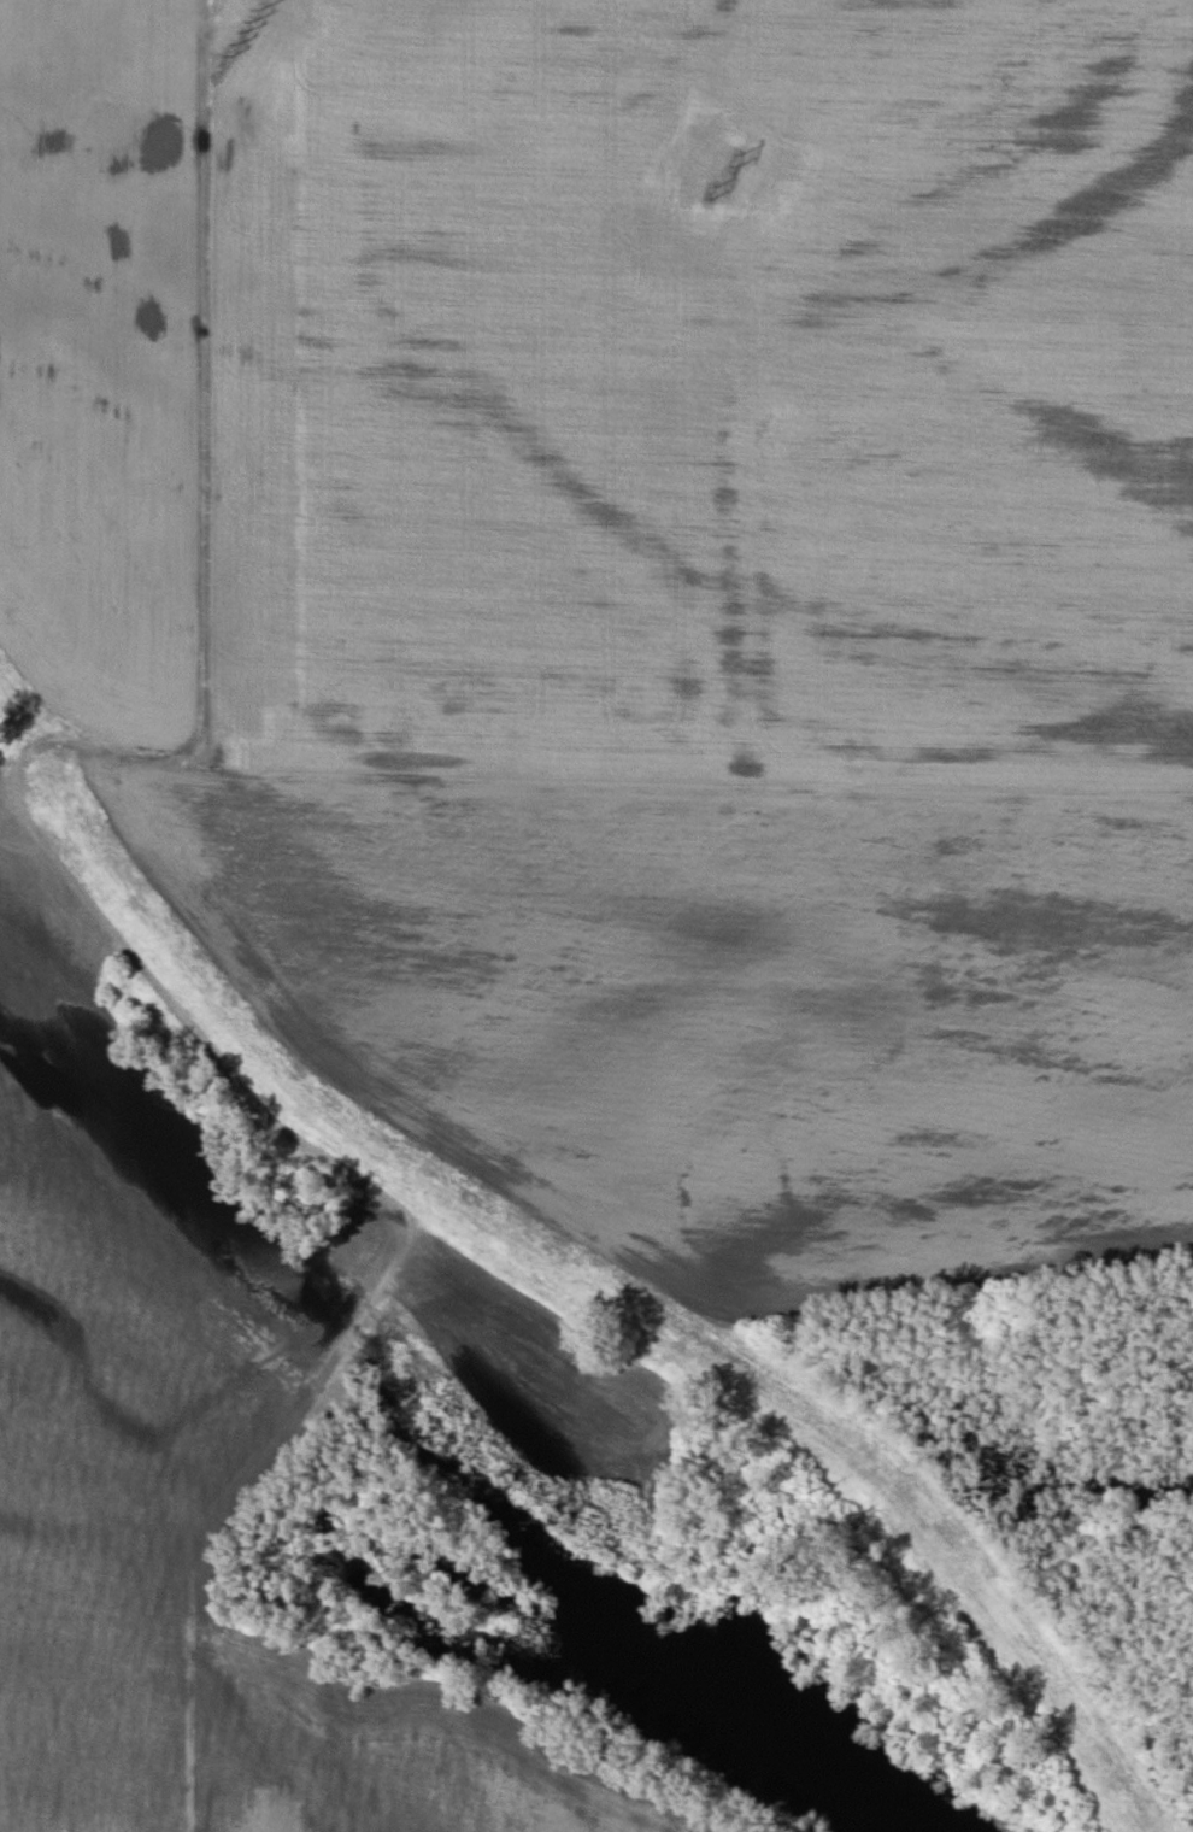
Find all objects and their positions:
power tower: (260, 4)
power tower: (737, 159)
crop: (99, 362)
crop: (716, 621)
crop: (177, 1537)

